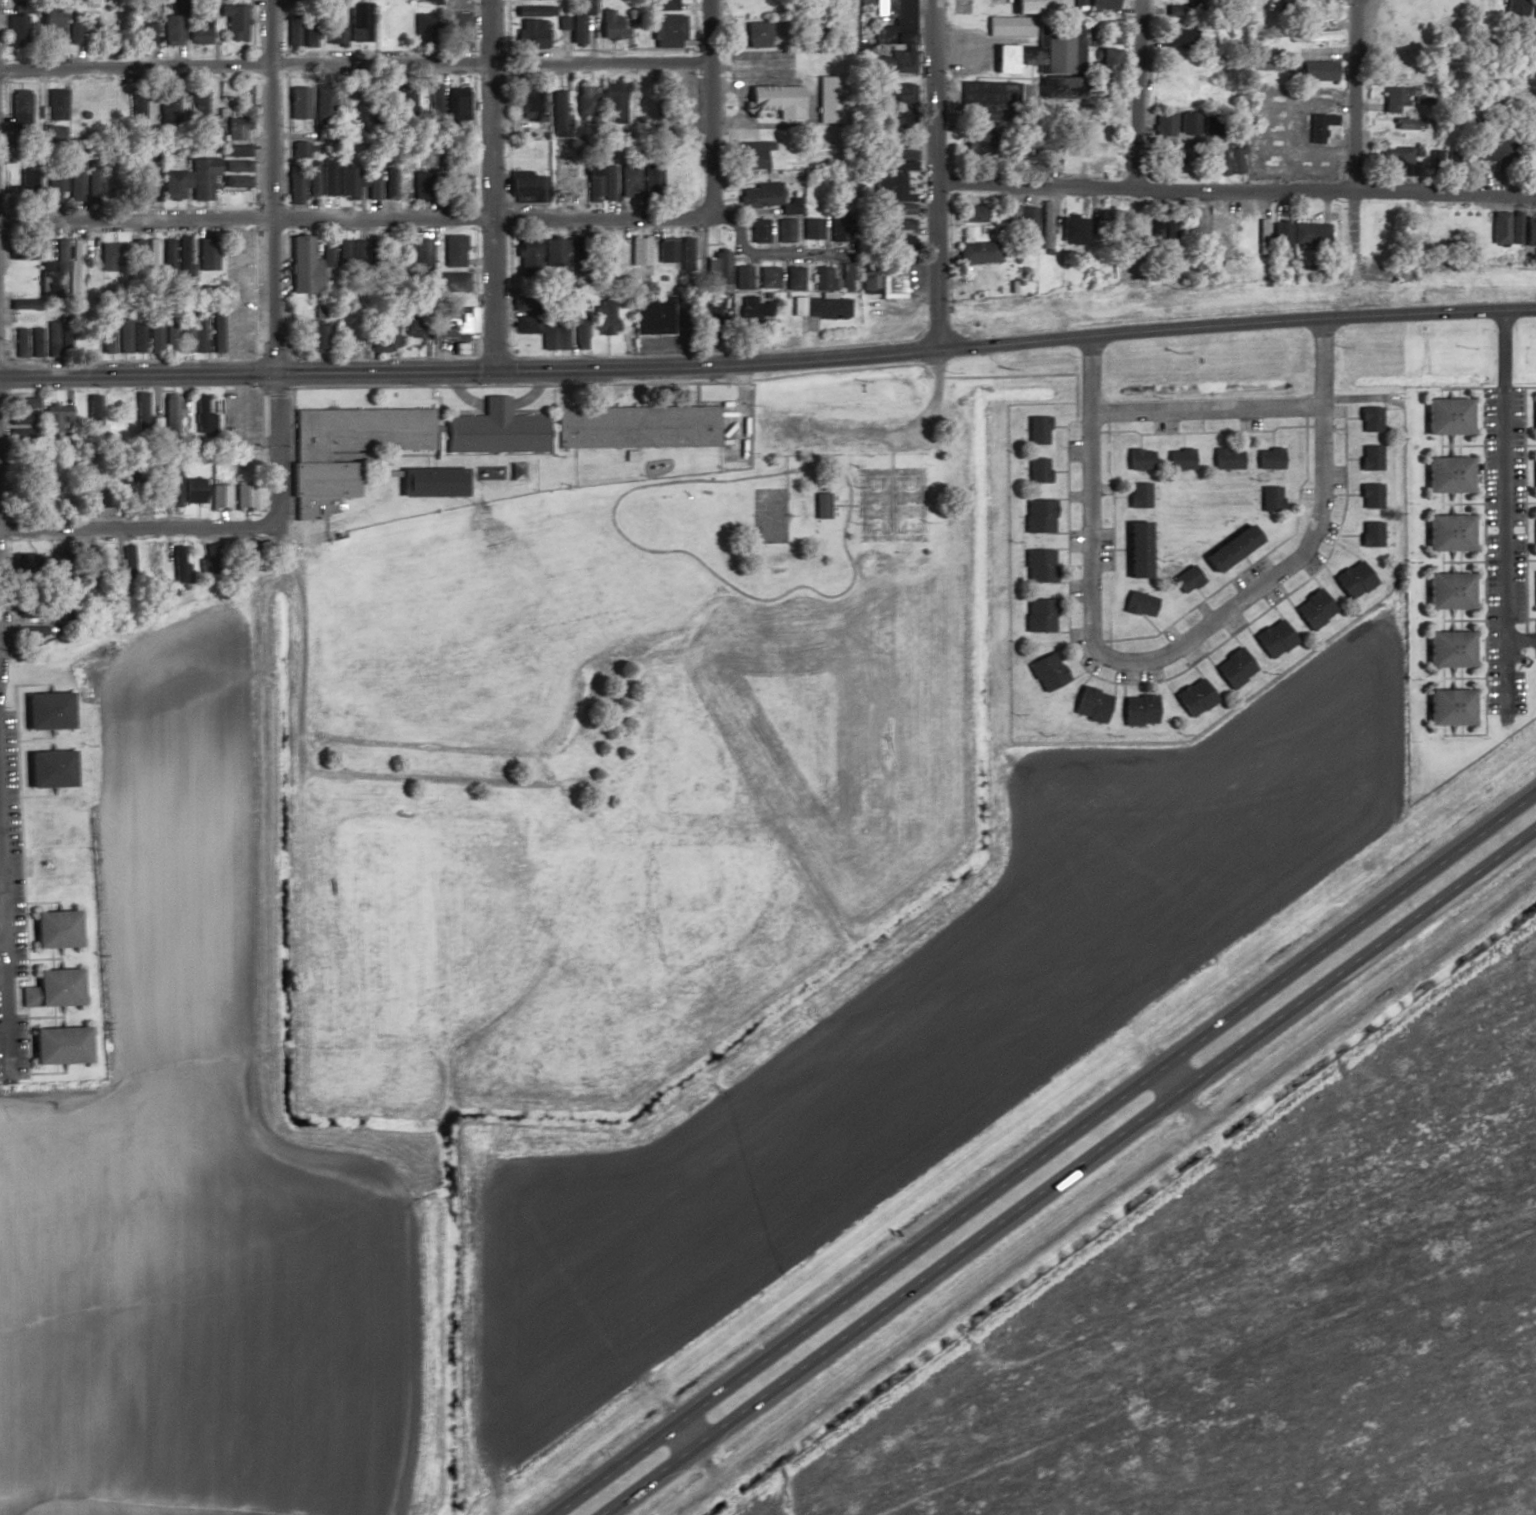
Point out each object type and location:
building: (658, 5)
building: (1075, 5)
building: (1100, 5)
building: (1037, 7)
building: (1328, 8)
building: (1175, 10)
building: (1534, 10)
building: (528, 11)
building: (1239, 11)
building: (1514, 11)
building: (232, 21)
building: (576, 21)
building: (46, 26)
building: (607, 26)
building: (1006, 27)
building: (170, 29)
building: (196, 29)
building: (401, 29)
building: (15, 30)
building: (425, 30)
building: (664, 30)
building: (70, 31)
building: (454, 31)
building: (754, 32)
building: (333, 33)
building: (529, 34)
building: (893, 34)
building: (1105, 34)
building: (143, 36)
building: (1312, 36)
building: (306, 37)
building: (1174, 37)
building: (1059, 46)
building: (1000, 59)
building: (1105, 60)
road: (523, 61)
road: (131, 67)
building: (1175, 68)
building: (1316, 71)
building: (1058, 89)
road: (1135, 93)
building: (432, 94)
building: (900, 94)
building: (1178, 94)
building: (991, 98)
building: (1396, 98)
building: (771, 101)
building: (346, 103)
building: (583, 103)
building: (609, 103)
building: (296, 104)
building: (452, 104)
building: (525, 104)
building: (54, 106)
building: (556, 106)
building: (196, 107)
building: (321, 107)
building: (17, 109)
building: (136, 109)
road: (707, 109)
building: (1532, 113)
building: (898, 118)
building: (237, 120)
building: (1188, 123)
building: (1162, 124)
building: (1317, 127)
building: (1531, 129)
road: (1353, 132)
building: (973, 141)
building: (1532, 149)
building: (897, 153)
building: (1496, 153)
building: (1168, 154)
building: (1401, 154)
building: (750, 155)
building: (1040, 155)
building: (233, 159)
building: (1235, 167)
building: (1531, 170)
road: (931, 173)
building: (298, 174)
building: (649, 176)
building: (324, 179)
building: (564, 179)
building: (587, 179)
building: (26, 180)
building: (627, 180)
building: (186, 181)
building: (54, 182)
building: (84, 182)
building: (233, 182)
building: (368, 183)
building: (606, 183)
building: (344, 184)
building: (387, 184)
building: (415, 185)
road: (482, 185)
building: (152, 186)
building: (461, 186)
building: (525, 186)
building: (133, 187)
building: (881, 187)
road: (1233, 187)
building: (756, 197)
building: (973, 213)
building: (1015, 218)
road: (496, 220)
road: (132, 223)
building: (895, 224)
building: (1044, 225)
building: (1195, 227)
building: (1500, 227)
building: (1441, 228)
building: (809, 229)
building: (835, 229)
building: (1522, 229)
building: (756, 230)
building: (782, 230)
building: (1414, 230)
building: (1071, 231)
building: (1155, 232)
building: (1171, 233)
building: (1214, 234)
building: (1311, 234)
building: (1232, 235)
building: (1282, 235)
building: (1262, 236)
building: (900, 243)
building: (636, 250)
building: (450, 251)
building: (519, 251)
building: (664, 251)
building: (77, 252)
building: (339, 253)
building: (354, 253)
building: (976, 253)
building: (324, 254)
building: (550, 254)
building: (683, 254)
building: (204, 255)
building: (399, 256)
building: (108, 257)
building: (144, 257)
building: (418, 257)
building: (181, 258)
building: (164, 259)
road: (264, 261)
building: (298, 264)
building: (715, 269)
building: (52, 272)
building: (845, 277)
building: (866, 277)
building: (766, 278)
building: (791, 278)
building: (819, 278)
building: (890, 279)
building: (449, 282)
building: (818, 307)
building: (22, 311)
building: (599, 317)
building: (649, 317)
building: (522, 321)
building: (447, 324)
road: (1143, 329)
building: (314, 330)
building: (346, 332)
building: (409, 332)
building: (550, 333)
building: (378, 334)
building: (104, 335)
building: (127, 335)
building: (189, 335)
building: (212, 336)
building: (150, 337)
building: (53, 338)
building: (166, 338)
building: (17, 342)
building: (33, 342)
road: (508, 370)
road: (132, 377)
building: (24, 402)
road: (1203, 409)
building: (87, 410)
building: (137, 410)
building: (114, 412)
building: (198, 413)
building: (51, 417)
building: (165, 417)
building: (1368, 418)
building: (19, 420)
building: (1534, 423)
building: (1444, 425)
building: (632, 426)
building: (490, 428)
building: (354, 429)
building: (1036, 429)
road: (897, 433)
road: (1088, 438)
road: (840, 454)
building: (1368, 456)
building: (1268, 457)
building: (1178, 458)
building: (1225, 458)
building: (1138, 459)
road: (891, 461)
building: (1036, 469)
road: (785, 470)
building: (316, 477)
building: (1534, 479)
building: (425, 480)
building: (1445, 480)
building: (169, 486)
building: (32, 487)
building: (188, 489)
building: (1137, 494)
building: (1369, 495)
building: (215, 496)
building: (240, 496)
building: (1269, 497)
park: (892, 504)
building: (307, 505)
building: (820, 505)
road: (844, 505)
building: (1037, 515)
road: (1504, 516)
road: (131, 530)
building: (1369, 533)
building: (1535, 539)
building: (1446, 540)
building: (1228, 547)
building: (1135, 548)
building: (206, 557)
building: (175, 564)
building: (1039, 565)
road: (719, 577)
building: (1185, 579)
building: (1352, 579)
road: (1256, 587)
building: (1535, 595)
building: (1446, 599)
building: (1138, 603)
building: (23, 609)
building: (1312, 609)
building: (1038, 614)
building: (31, 629)
building: (1272, 638)
road: (1521, 641)
building: (1445, 657)
building: (1232, 668)
building: (1046, 670)
building: (1192, 697)
building: (1089, 703)
building: (42, 709)
building: (1136, 709)
building: (1447, 714)
building: (44, 768)
road: (429, 780)
building: (51, 929)
road: (2, 945)
road: (5, 963)
building: (49, 988)
building: (55, 1045)
road: (1176, 1095)
road: (1043, 1154)
road: (1066, 1170)
road: (1097, 1191)
road: (690, 1454)

